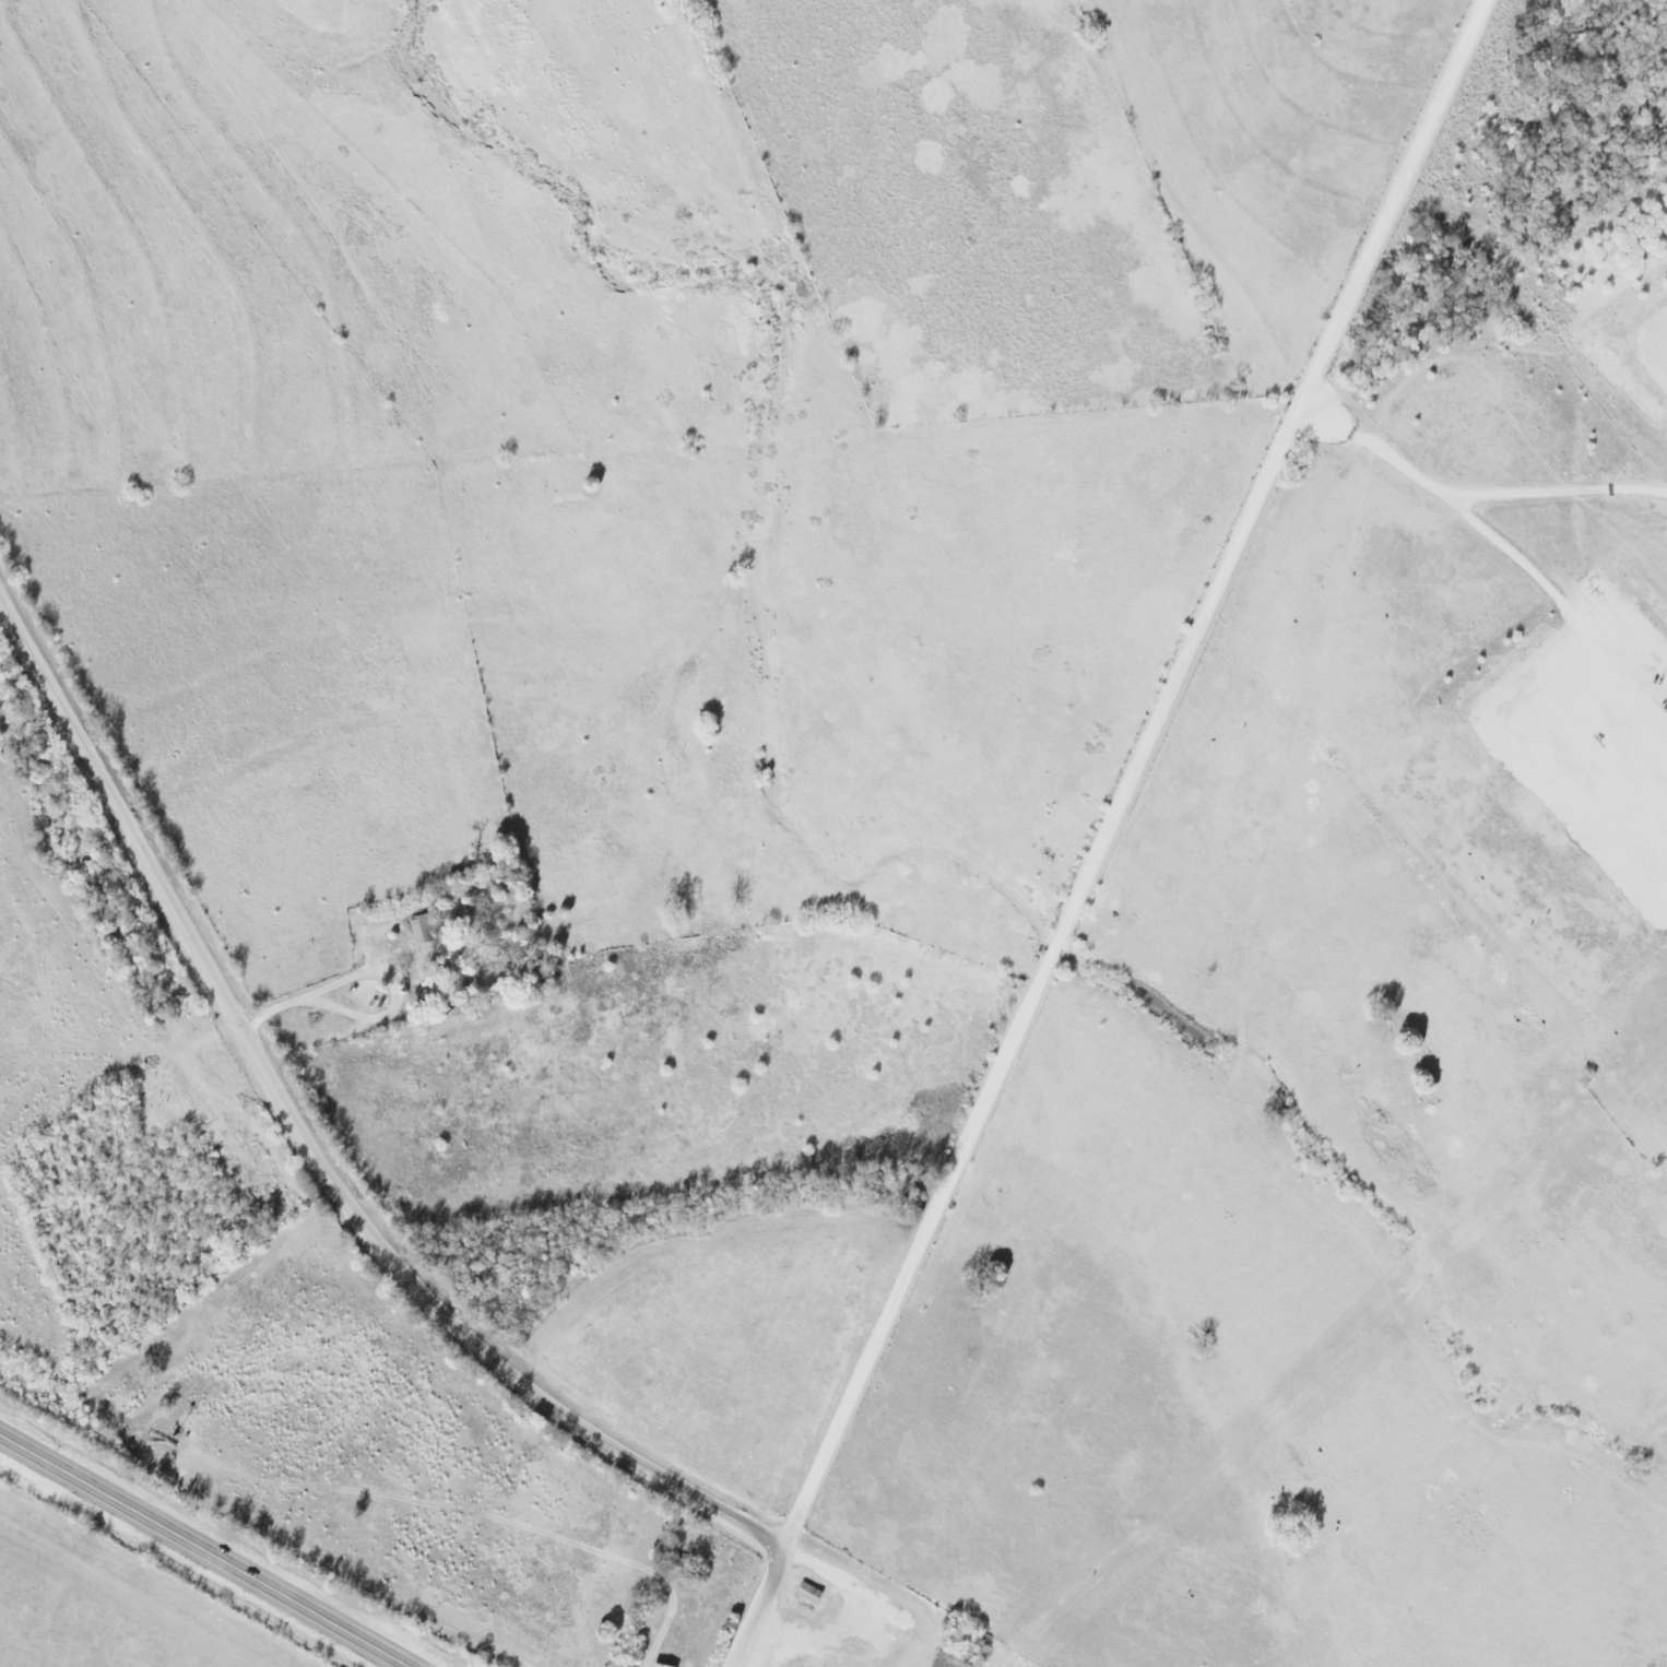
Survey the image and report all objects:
road: (1454, 507)
road: (1562, 507)
road: (1630, 775)
road: (1109, 831)
park: (153, 1103)
road: (310, 1138)
road: (204, 1551)
building: (661, 1665)

